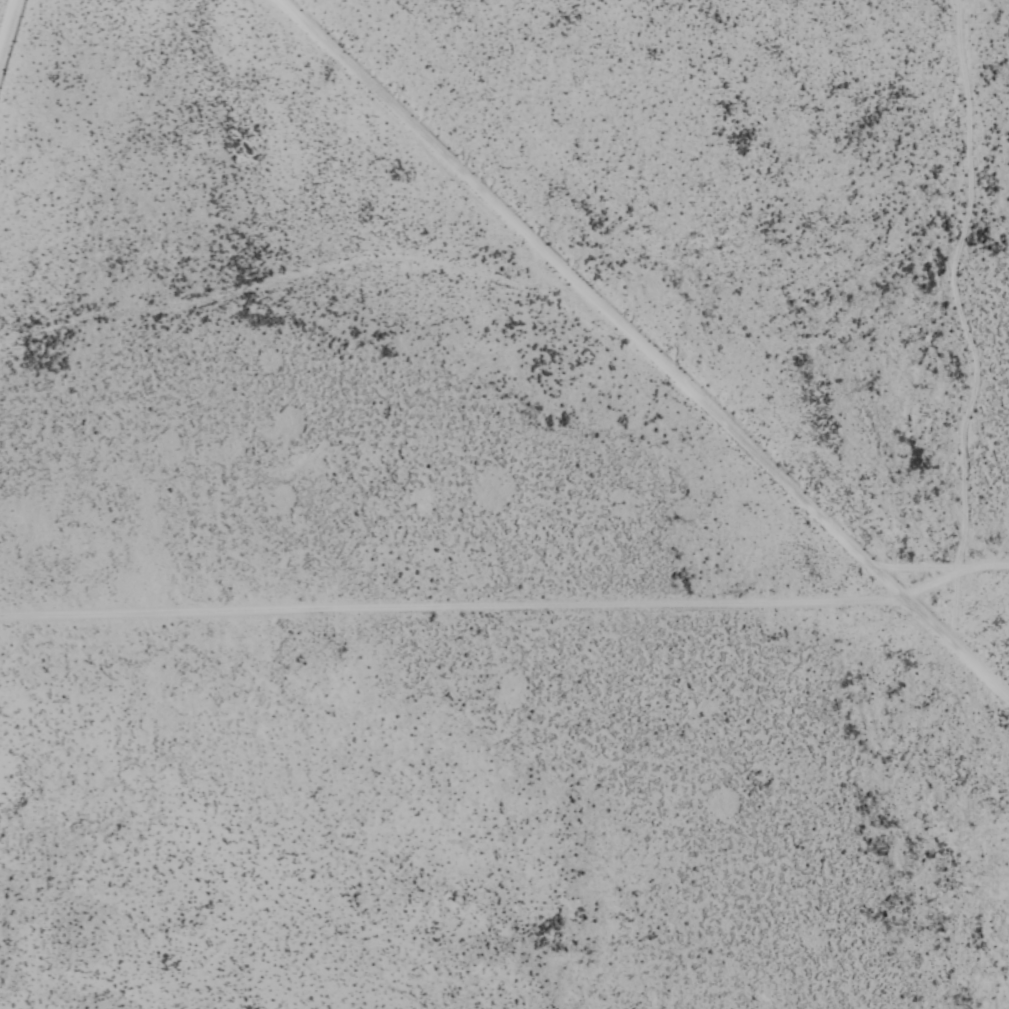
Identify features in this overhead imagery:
road: (641, 350)
road: (957, 600)
road: (453, 604)

